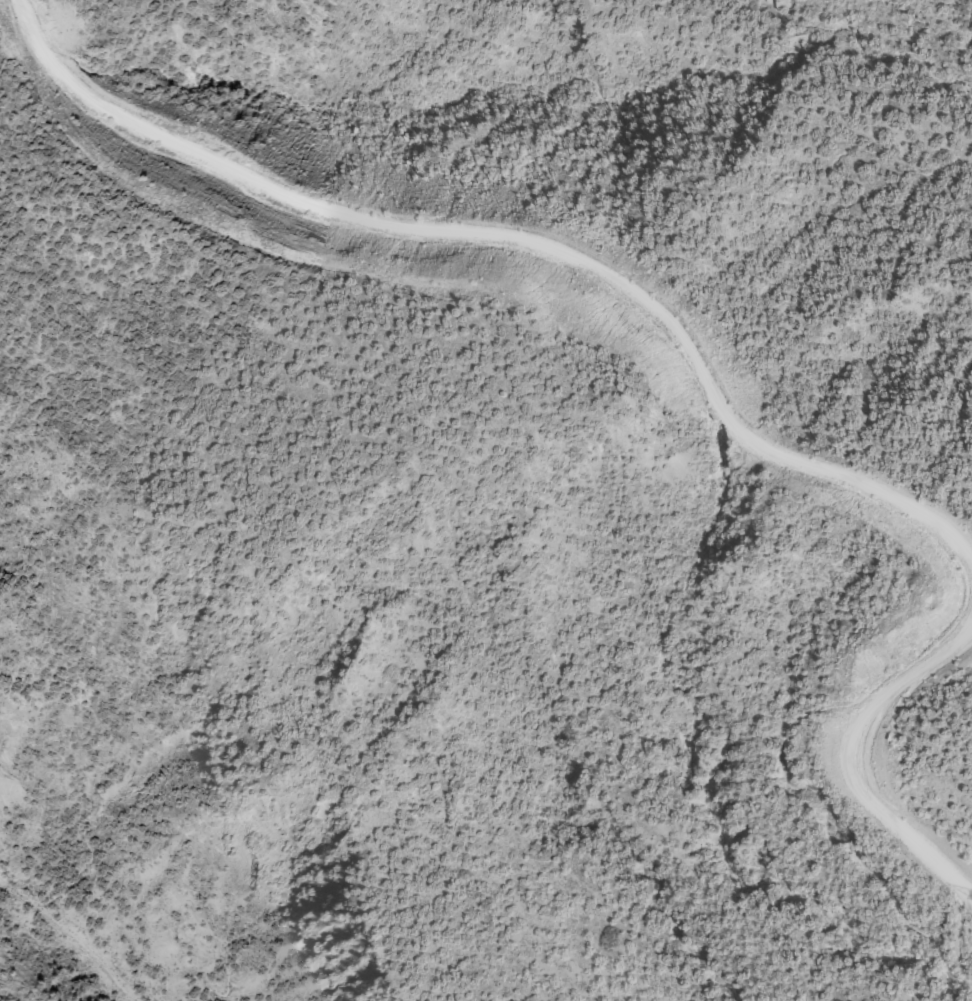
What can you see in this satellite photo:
road: (100, 6)
road: (104, 12)
road: (518, 234)
road: (843, 757)

